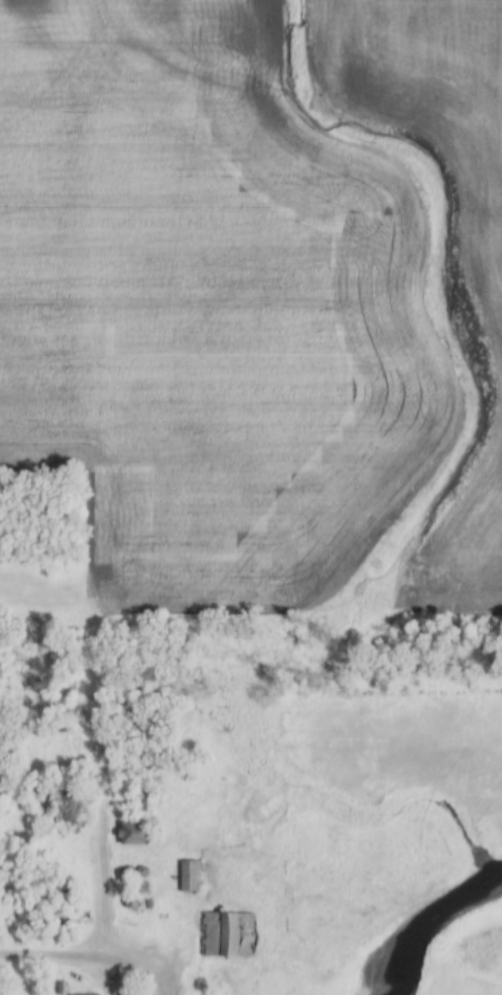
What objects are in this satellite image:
building: (132, 834)
building: (187, 878)
river: (426, 929)
building: (225, 937)
road: (91, 962)

